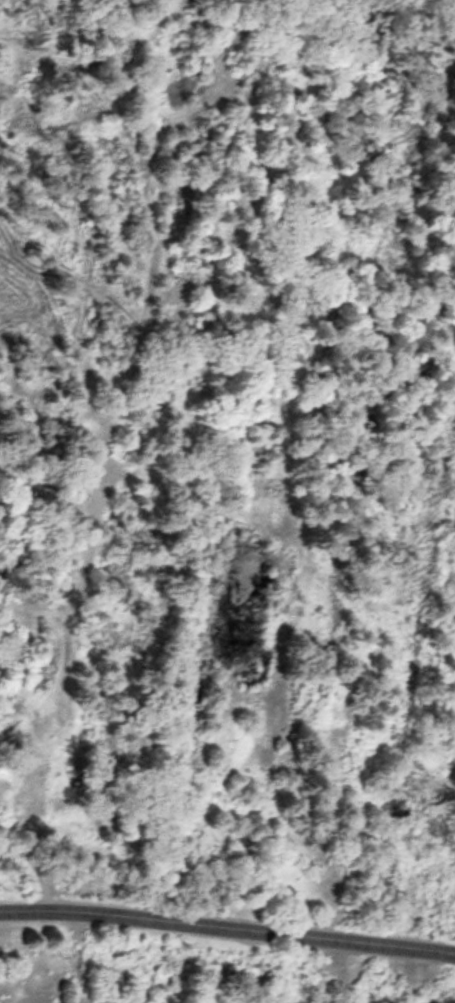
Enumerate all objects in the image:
road: (228, 926)

